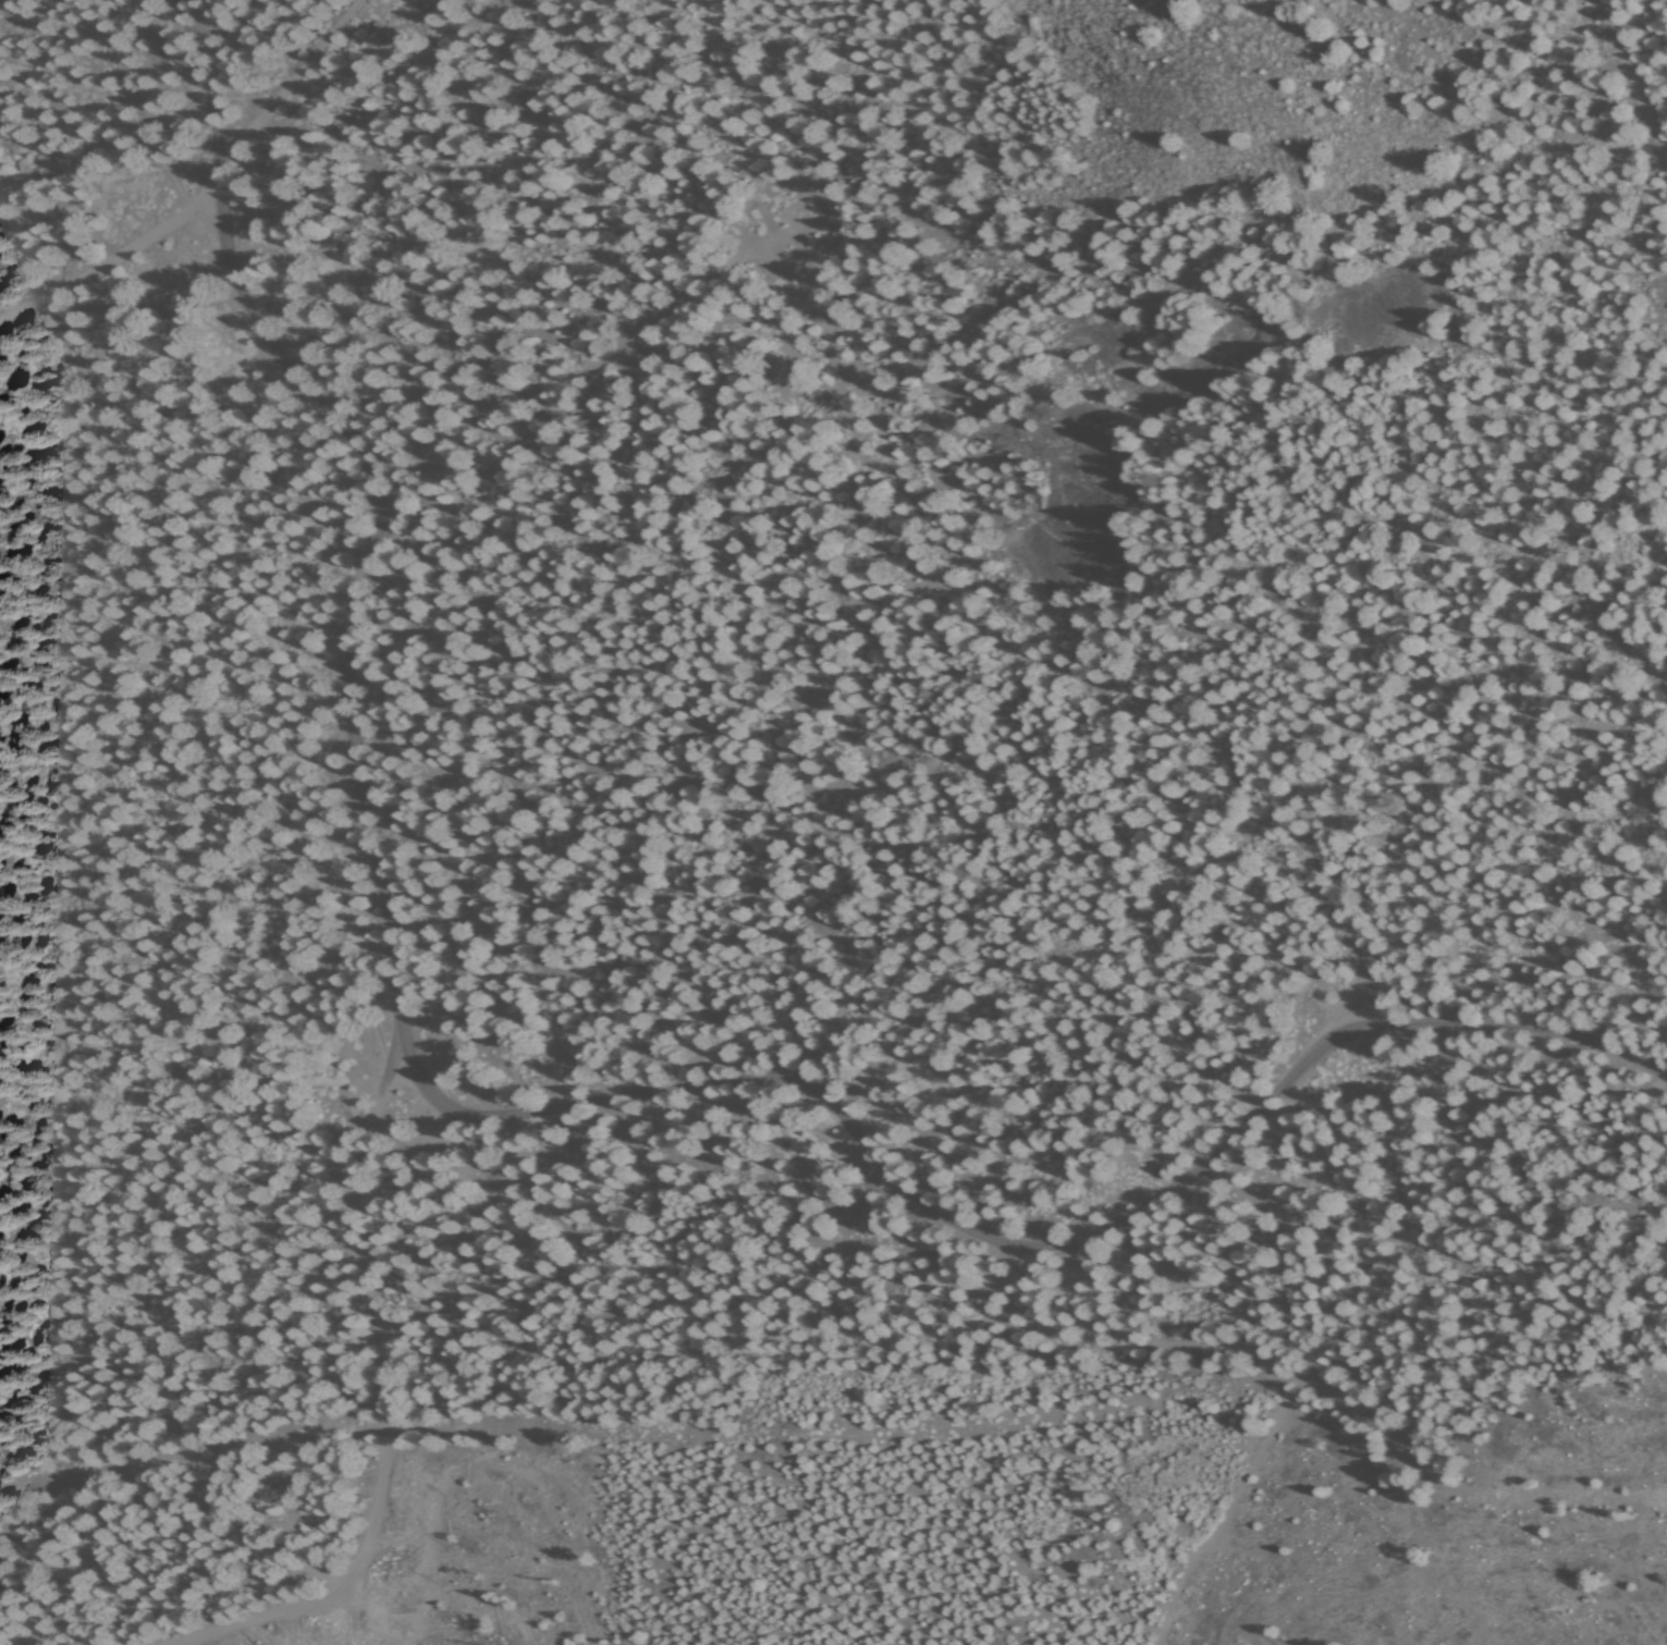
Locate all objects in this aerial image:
road: (1633, 78)
road: (210, 193)
road: (378, 849)
road: (1034, 1257)

